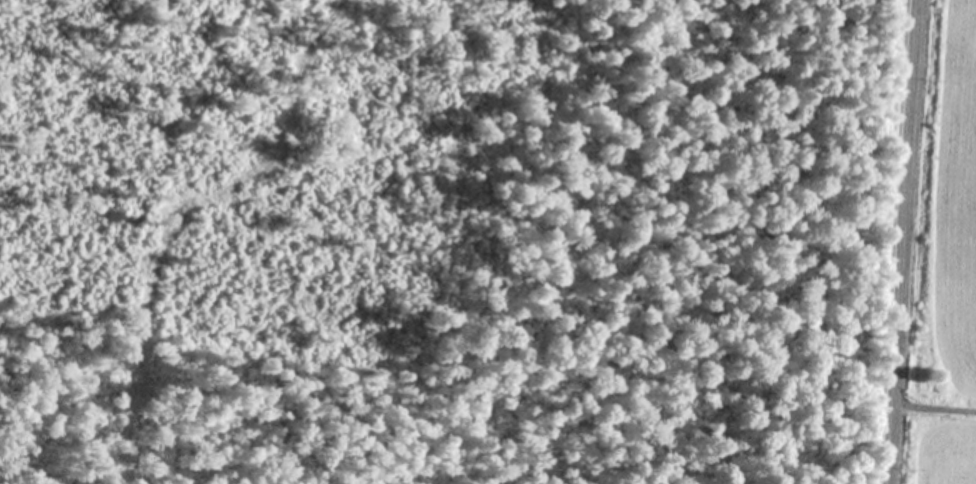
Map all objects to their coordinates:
road: (902, 242)
road: (934, 407)

